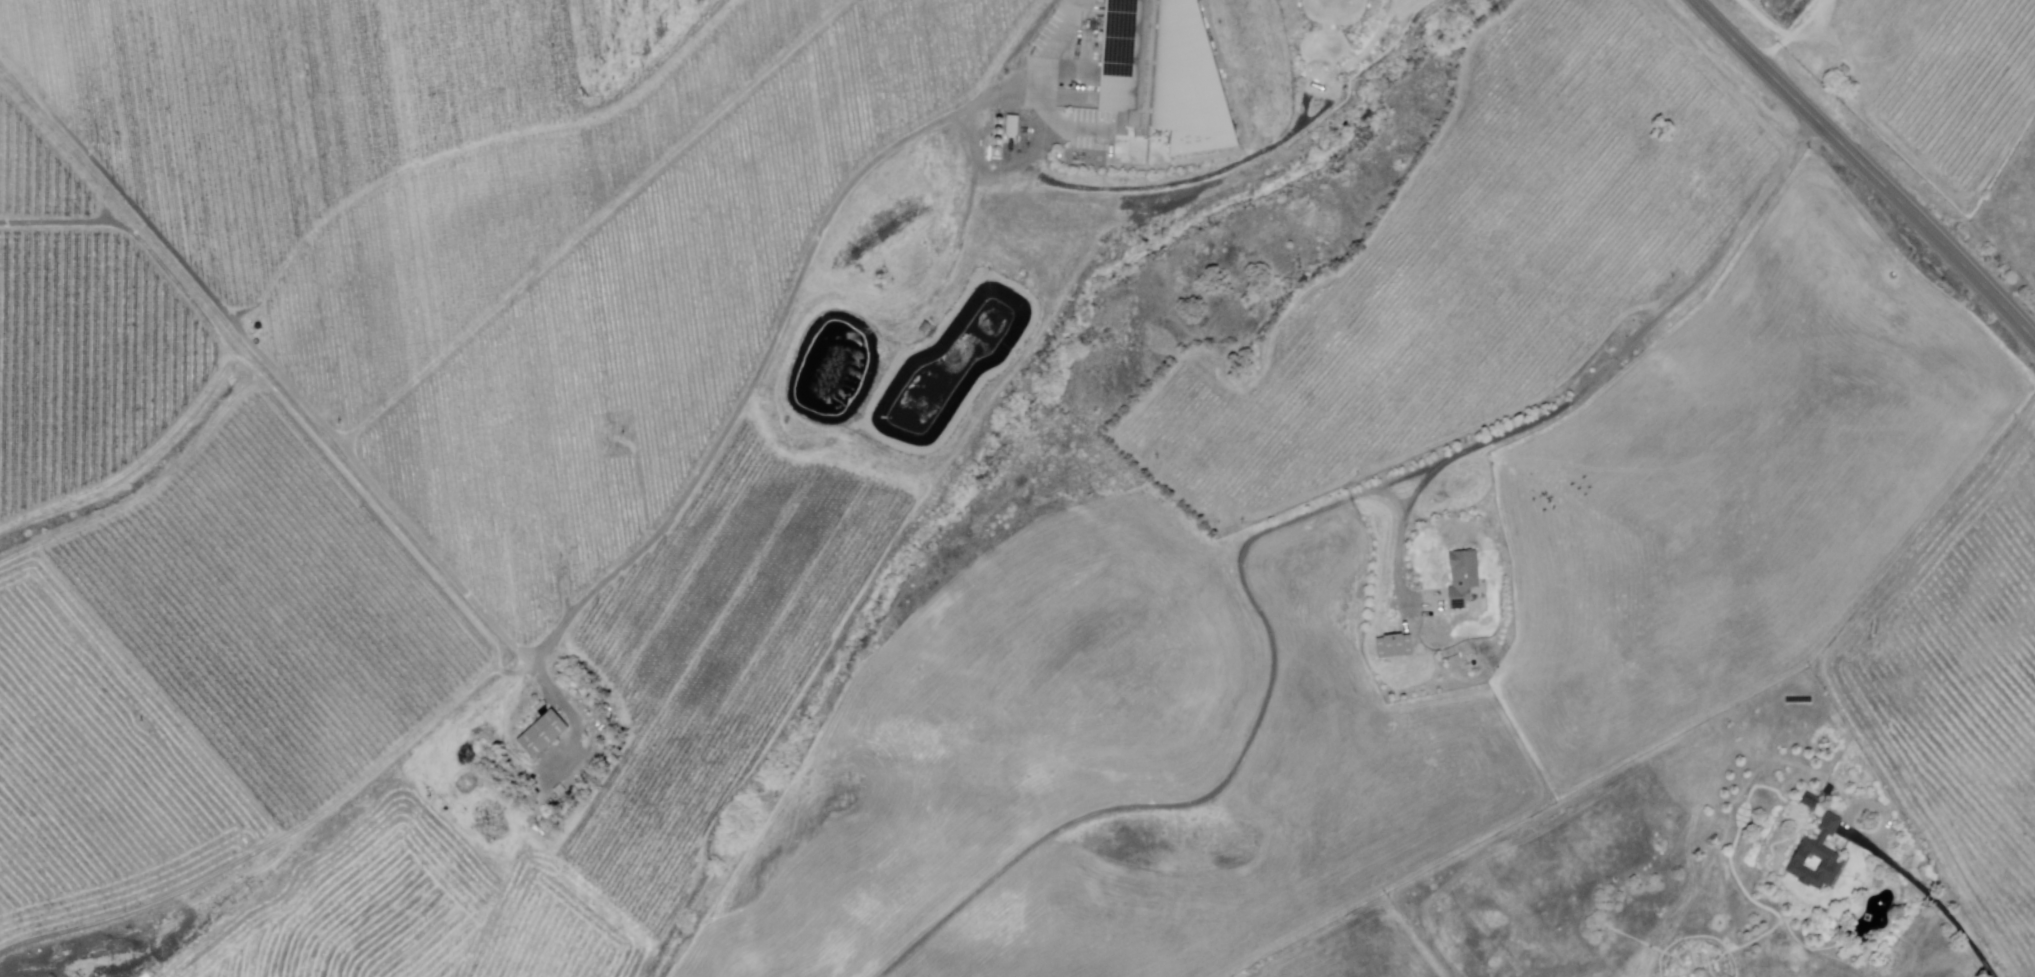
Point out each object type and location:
road: (1050, 40)
building: (1163, 75)
road: (1867, 169)
road: (1667, 312)
road: (285, 383)
crop: (1740, 486)
road: (1404, 526)
building: (1463, 579)
building: (1396, 646)
crop: (1962, 695)
crop: (709, 719)
crop: (1010, 731)
building: (541, 735)
road: (1249, 744)
building: (1811, 802)
crop: (1268, 810)
building: (1819, 859)
road: (1930, 895)
crop: (1359, 949)

